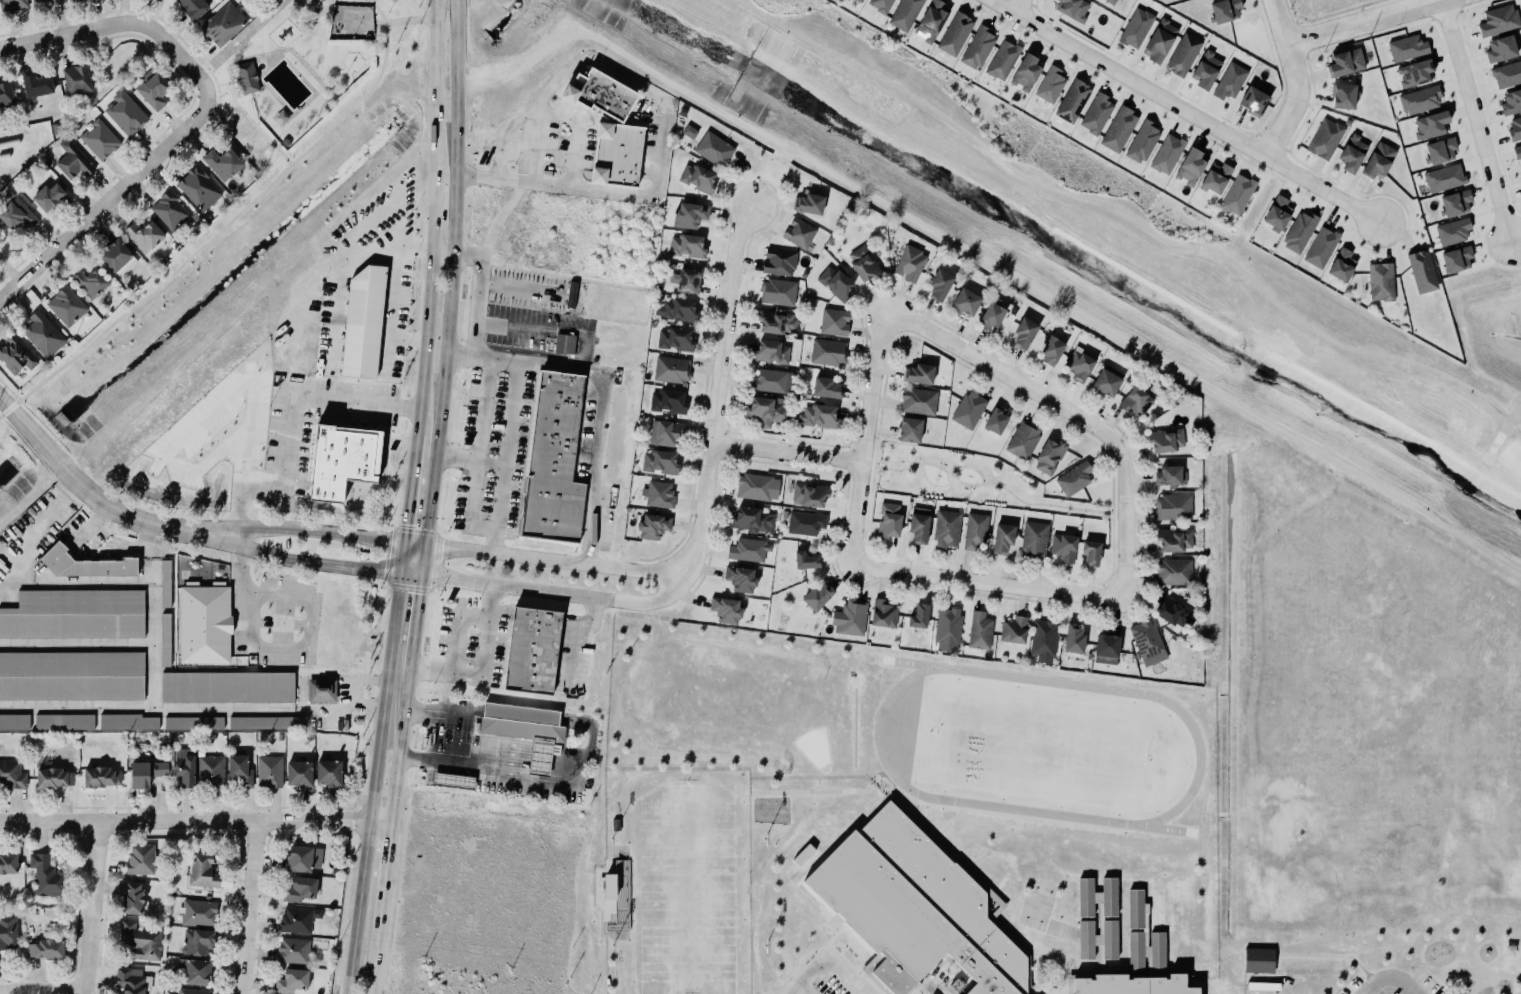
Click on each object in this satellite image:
building: (69, 0)
building: (858, 1)
building: (1109, 1)
building: (45, 2)
building: (11, 4)
building: (880, 5)
road: (1019, 6)
building: (193, 7)
building: (1074, 9)
building: (1222, 9)
building: (903, 13)
road: (405, 19)
building: (932, 20)
road: (1358, 20)
building: (1499, 20)
building: (223, 23)
road: (93, 26)
building: (1134, 26)
building: (953, 32)
road: (246, 35)
road: (548, 39)
building: (1160, 40)
building: (978, 47)
building: (1407, 47)
building: (1500, 49)
building: (1183, 54)
building: (1002, 60)
building: (1346, 62)
road: (482, 65)
building: (1206, 69)
road: (209, 71)
building: (1024, 71)
building: (1414, 71)
building: (1507, 74)
park: (280, 76)
building: (246, 77)
road: (483, 77)
building: (76, 79)
building: (1228, 80)
road: (1297, 80)
road: (225, 81)
building: (35, 83)
building: (1048, 83)
road: (436, 91)
building: (5, 92)
building: (154, 92)
building: (598, 92)
road: (217, 93)
building: (1344, 96)
building: (1071, 99)
building: (1252, 99)
building: (1420, 100)
building: (1511, 102)
road: (214, 111)
road: (1187, 111)
building: (1095, 112)
building: (125, 113)
road: (1475, 119)
road: (662, 120)
building: (1429, 123)
road: (254, 124)
road: (203, 127)
building: (1117, 128)
building: (1515, 128)
road: (233, 131)
building: (688, 131)
road: (537, 134)
parking lot: (242, 135)
road: (575, 135)
building: (1325, 138)
building: (100, 139)
building: (1142, 142)
building: (713, 149)
building: (1441, 150)
building: (1517, 151)
building: (615, 153)
building: (1166, 153)
building: (1352, 153)
building: (71, 159)
building: (1379, 160)
building: (223, 163)
building: (1190, 166)
building: (1442, 175)
building: (1214, 176)
building: (697, 178)
road: (126, 180)
building: (198, 188)
building: (1236, 193)
building: (46, 195)
building: (1456, 202)
building: (809, 203)
building: (170, 210)
building: (1276, 212)
building: (16, 214)
building: (688, 214)
road: (1132, 216)
road: (435, 217)
road: (225, 224)
building: (1451, 230)
building: (799, 232)
building: (1299, 232)
building: (144, 235)
building: (686, 245)
building: (1320, 246)
road: (444, 252)
building: (118, 257)
building: (1457, 259)
building: (778, 260)
building: (908, 262)
building: (1340, 263)
building: (863, 264)
road: (1500, 267)
road: (9, 270)
building: (1419, 270)
road: (453, 273)
building: (684, 278)
building: (1379, 280)
building: (90, 282)
building: (833, 282)
building: (938, 283)
road: (519, 288)
building: (778, 292)
road: (476, 293)
building: (571, 294)
road: (391, 297)
building: (963, 301)
road: (1061, 305)
building: (66, 306)
building: (677, 309)
building: (992, 315)
building: (360, 316)
building: (776, 321)
building: (834, 321)
road: (513, 326)
park: (1461, 330)
building: (1024, 333)
building: (42, 334)
building: (673, 338)
building: (565, 343)
road: (429, 344)
building: (1050, 350)
building: (770, 351)
building: (828, 351)
building: (15, 355)
road: (524, 364)
building: (1078, 364)
building: (672, 369)
road: (719, 372)
building: (919, 374)
road: (1006, 376)
building: (770, 380)
building: (1107, 381)
building: (824, 386)
building: (1134, 400)
building: (667, 401)
building: (918, 401)
building: (766, 409)
building: (969, 409)
building: (818, 414)
road: (288, 417)
building: (996, 419)
road: (199, 422)
building: (910, 429)
building: (665, 433)
road: (864, 438)
building: (1164, 438)
building: (1023, 439)
road: (477, 443)
road: (875, 449)
road: (786, 452)
road: (241, 453)
building: (1049, 456)
road: (503, 458)
building: (339, 459)
building: (553, 460)
building: (658, 460)
road: (470, 461)
road: (912, 463)
road: (590, 469)
road: (954, 473)
building: (1170, 475)
building: (1072, 477)
park: (965, 479)
road: (947, 480)
road: (238, 485)
building: (755, 485)
road: (1111, 485)
road: (86, 490)
road: (412, 490)
building: (658, 493)
building: (810, 494)
road: (1029, 502)
building: (1172, 505)
road: (867, 515)
road: (1124, 518)
building: (887, 519)
building: (753, 520)
traffic signals: (409, 522)
building: (806, 522)
building: (651, 525)
road: (89, 526)
building: (917, 527)
building: (944, 527)
road: (481, 529)
building: (975, 530)
road: (32, 531)
road: (315, 533)
building: (1003, 538)
building: (1172, 538)
building: (1034, 539)
building: (1064, 547)
traffic signals: (441, 548)
building: (747, 548)
building: (1091, 552)
road: (1111, 553)
road: (405, 559)
building: (806, 560)
road: (301, 562)
road: (425, 562)
road: (568, 562)
building: (83, 563)
traffic signals: (381, 572)
building: (1173, 572)
road: (413, 576)
building: (739, 577)
building: (163, 582)
road: (75, 583)
road: (987, 583)
road: (662, 586)
traffic signals: (421, 592)
building: (816, 595)
road: (580, 596)
building: (724, 609)
building: (1174, 612)
building: (73, 613)
building: (883, 614)
road: (151, 616)
building: (848, 616)
building: (919, 616)
road: (309, 623)
building: (202, 624)
building: (948, 625)
road: (455, 629)
building: (1012, 629)
road: (416, 630)
building: (978, 630)
building: (1042, 637)
building: (163, 638)
road: (570, 638)
building: (1072, 638)
building: (1147, 642)
road: (75, 644)
building: (1107, 645)
building: (531, 650)
building: (1105, 660)
road: (480, 665)
building: (69, 674)
road: (358, 681)
building: (224, 686)
building: (318, 689)
road: (192, 709)
road: (445, 711)
road: (521, 712)
building: (59, 720)
building: (125, 720)
building: (13, 721)
building: (190, 721)
building: (262, 721)
building: (526, 730)
road: (435, 738)
road: (482, 745)
road: (541, 747)
road: (401, 750)
road: (570, 750)
road: (499, 752)
road: (539, 757)
road: (567, 761)
road: (497, 762)
building: (185, 767)
road: (538, 767)
building: (237, 770)
road: (562, 770)
building: (211, 771)
building: (269, 771)
building: (146, 772)
building: (298, 772)
building: (328, 772)
building: (10, 774)
road: (533, 775)
building: (102, 777)
building: (55, 778)
building: (453, 780)
road: (376, 784)
road: (196, 819)
road: (389, 851)
building: (140, 858)
building: (298, 858)
building: (8, 863)
building: (200, 871)
building: (46, 875)
stadium: (675, 881)
park: (684, 888)
building: (298, 889)
building: (132, 898)
road: (89, 906)
road: (247, 906)
building: (916, 908)
building: (1146, 908)
building: (197, 911)
building: (295, 919)
building: (1098, 919)
building: (1184, 920)
building: (7, 932)
building: (140, 939)
road: (378, 939)
building: (196, 941)
building: (45, 948)
building: (292, 949)
building: (1146, 950)
road: (826, 958)
building: (1258, 960)
building: (192, 970)
road: (1385, 978)
building: (130, 980)
building: (290, 980)
road: (932, 984)
building: (1130, 985)
road: (801, 989)
road: (40, 990)
building: (190, 991)

